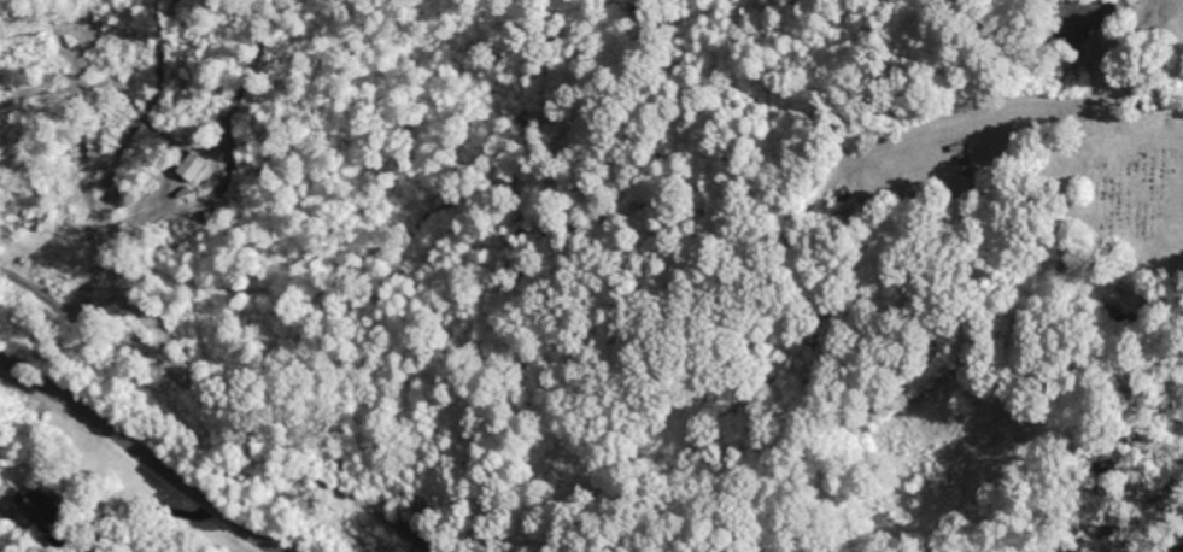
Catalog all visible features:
building: (1134, 2)
park: (1125, 178)
road: (140, 451)
building: (43, 506)

